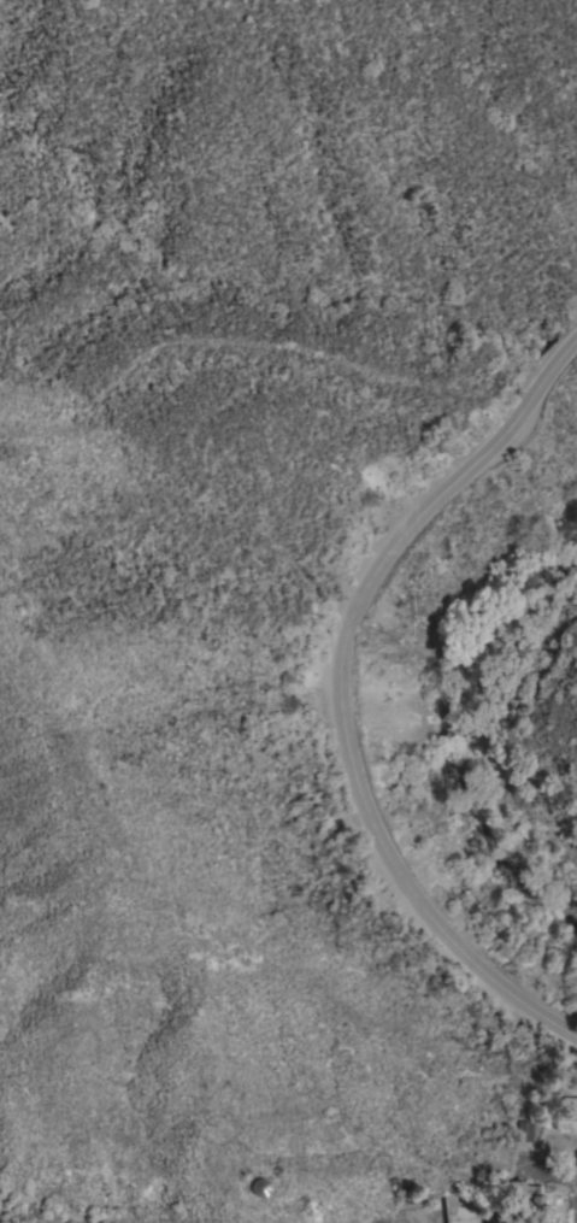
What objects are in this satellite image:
road: (340, 695)
building: (566, 1116)
building: (524, 1133)
building: (259, 1189)
building: (526, 1200)

